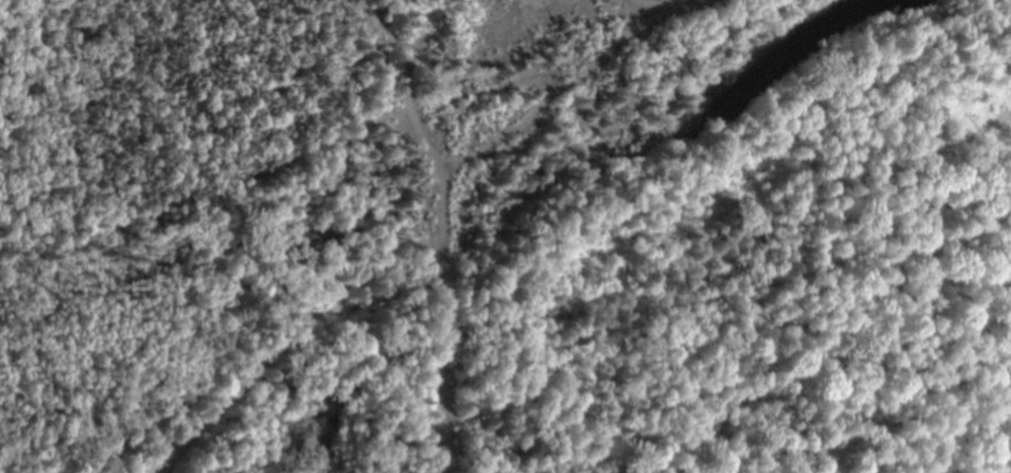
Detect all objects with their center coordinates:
road: (444, 321)

